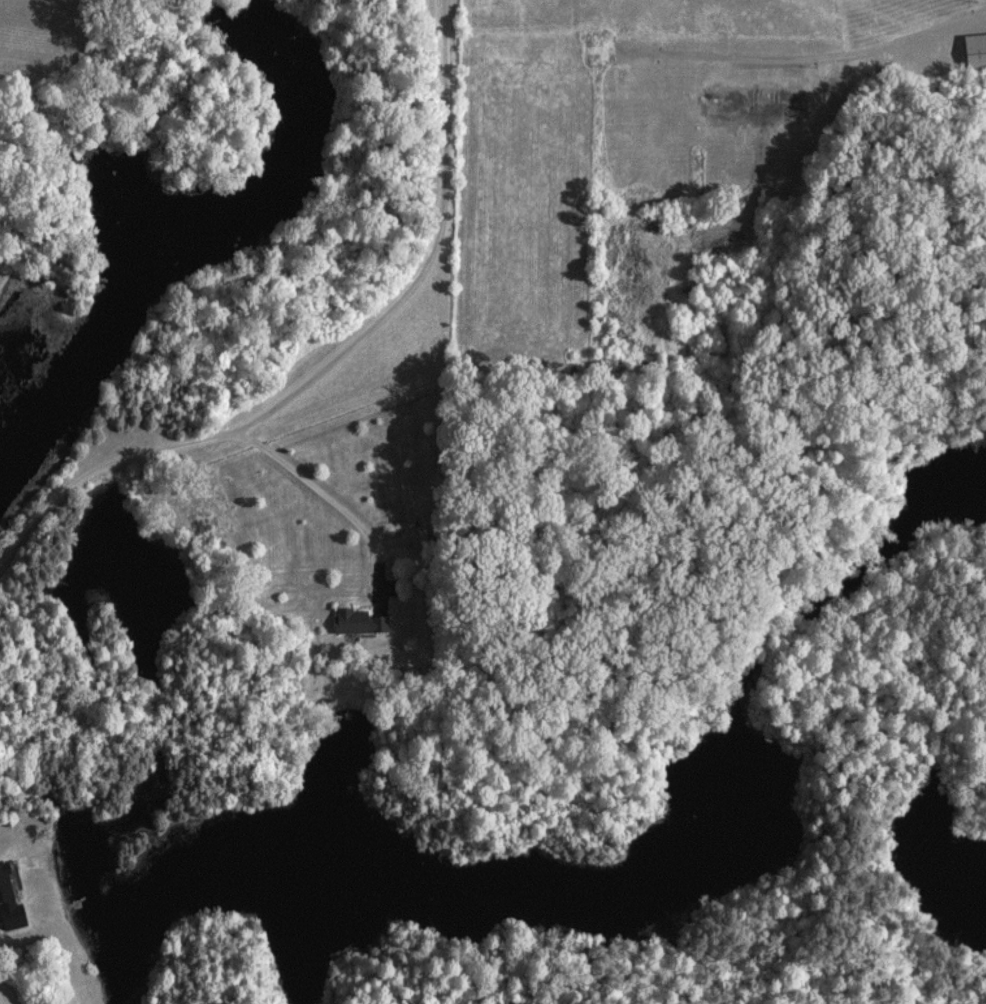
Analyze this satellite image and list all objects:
road: (879, 46)
building: (974, 50)
road: (433, 260)
road: (211, 436)
building: (417, 536)
building: (357, 620)
building: (8, 902)
road: (1, 992)
road: (2, 993)

